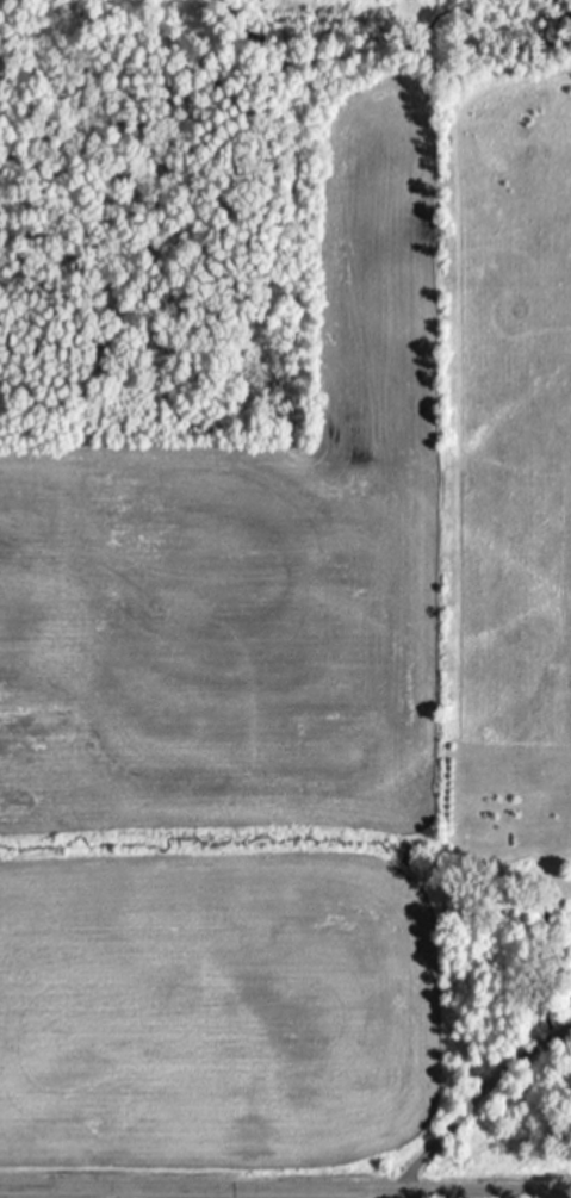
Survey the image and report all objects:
road: (474, 1095)
road: (285, 1188)

